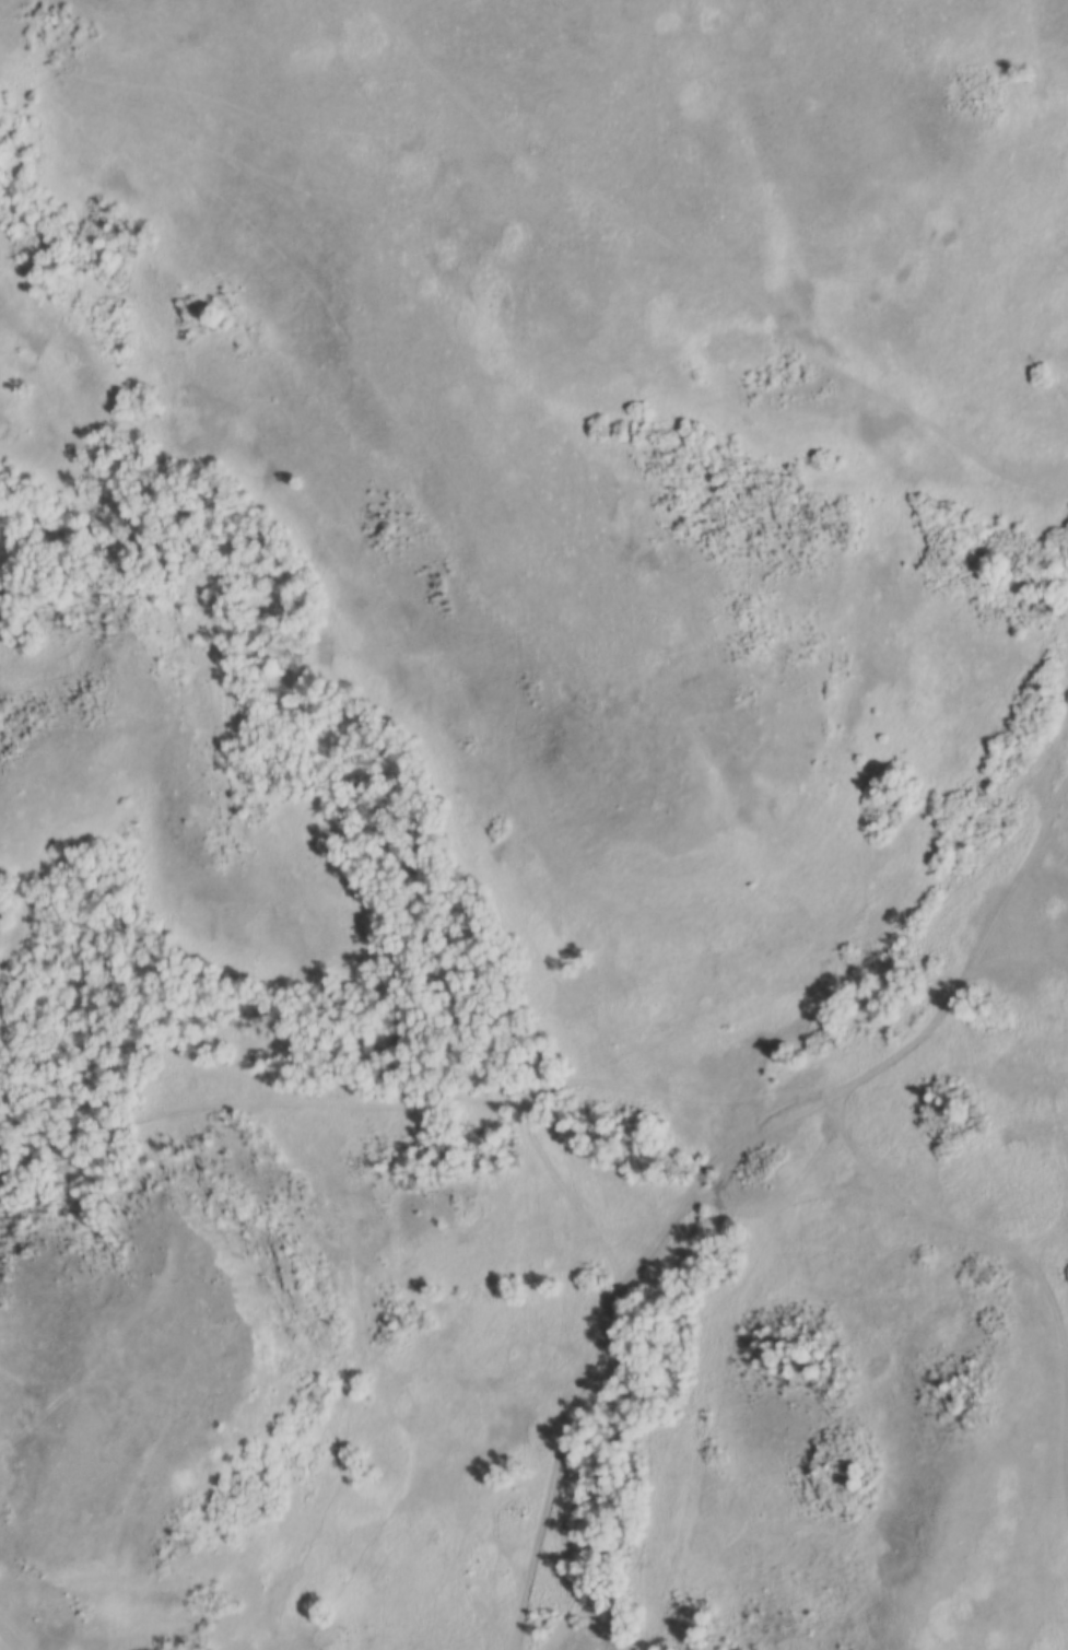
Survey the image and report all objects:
road: (703, 260)
road: (854, 1151)

